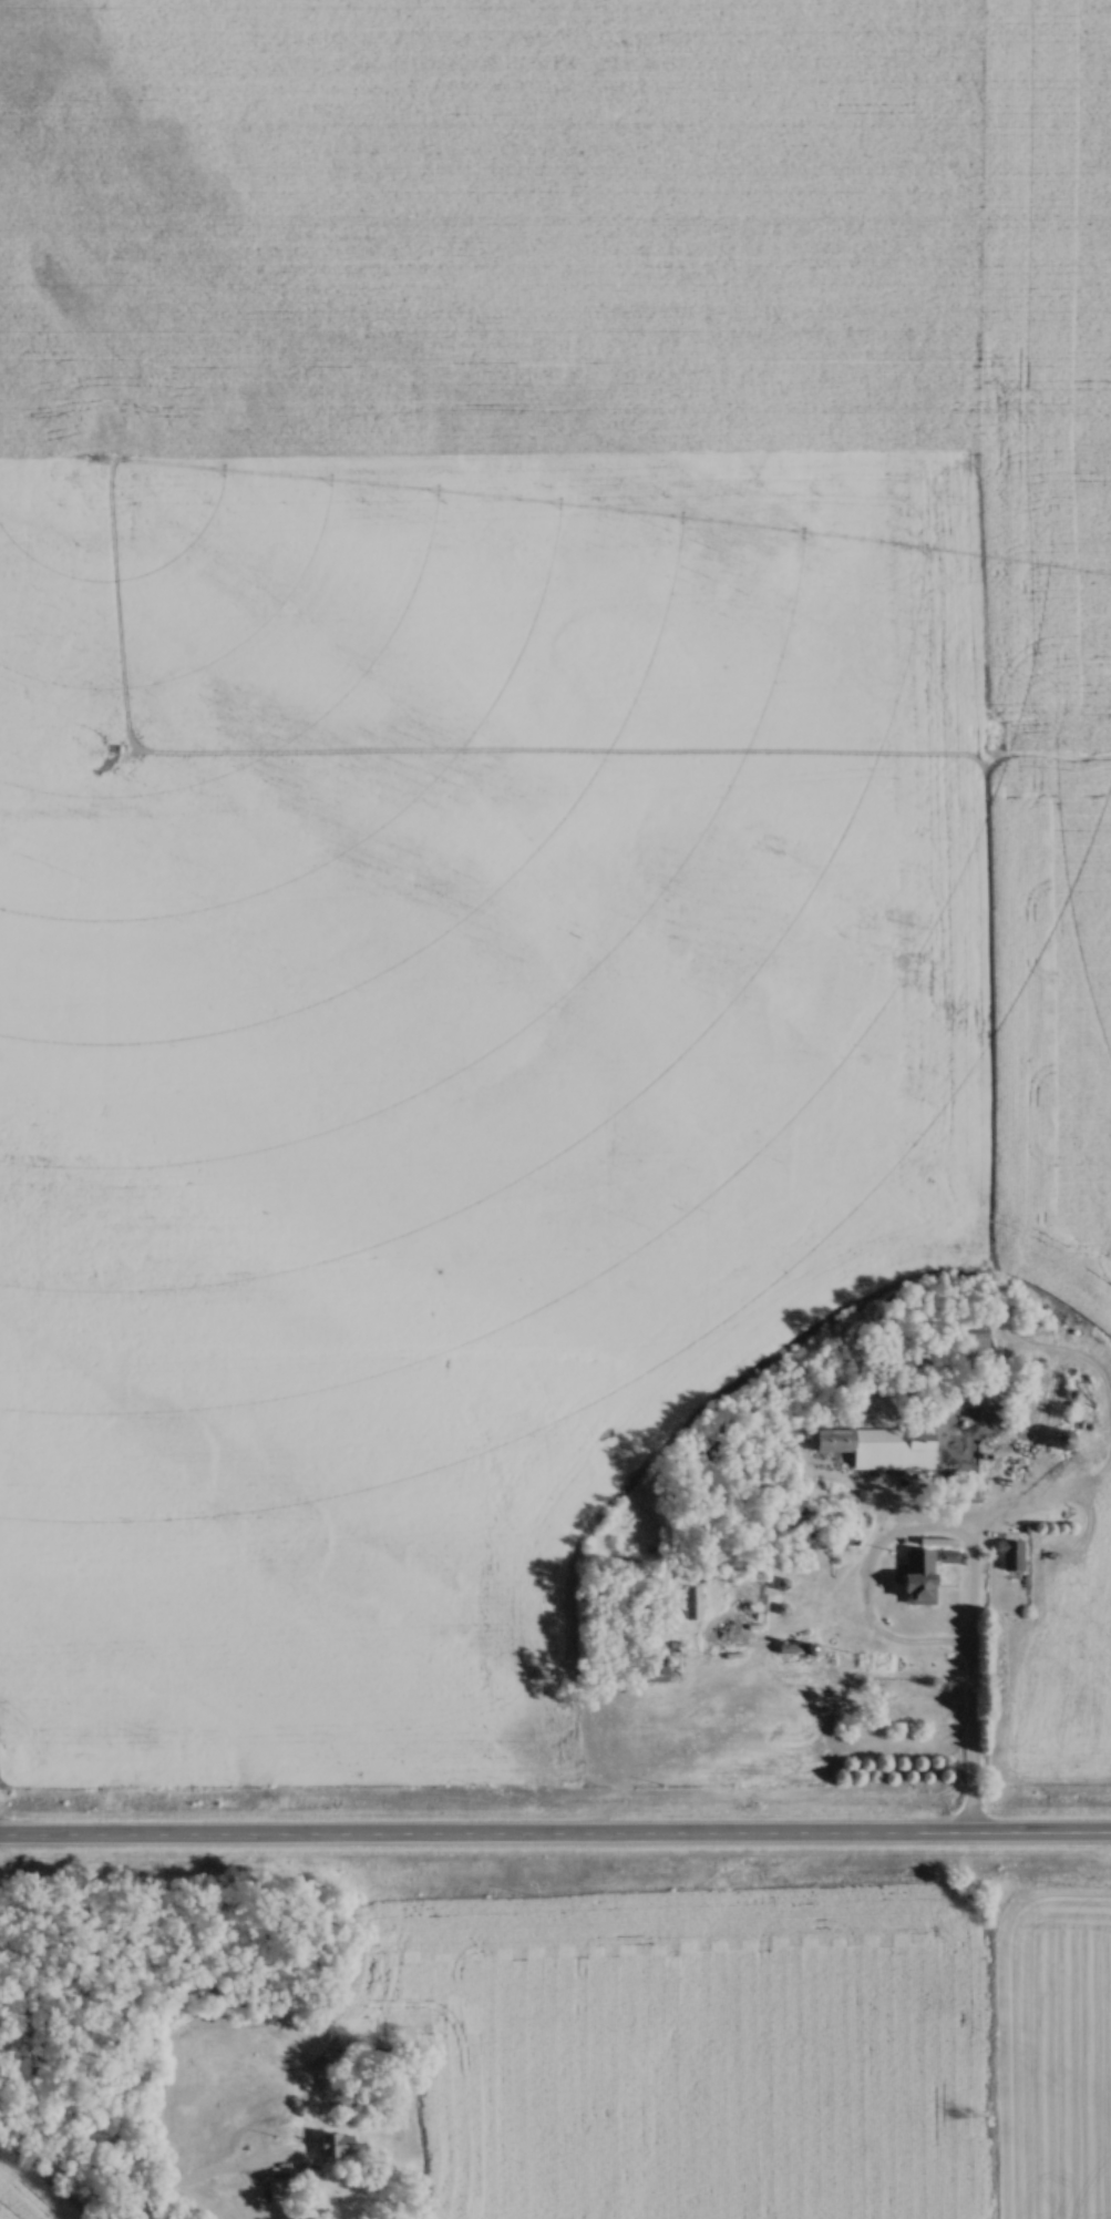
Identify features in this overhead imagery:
building: (875, 1446)
road: (894, 1540)
building: (1009, 1554)
building: (915, 1587)
road: (971, 1752)
road: (555, 1839)
building: (333, 2144)
road: (115, 2175)

